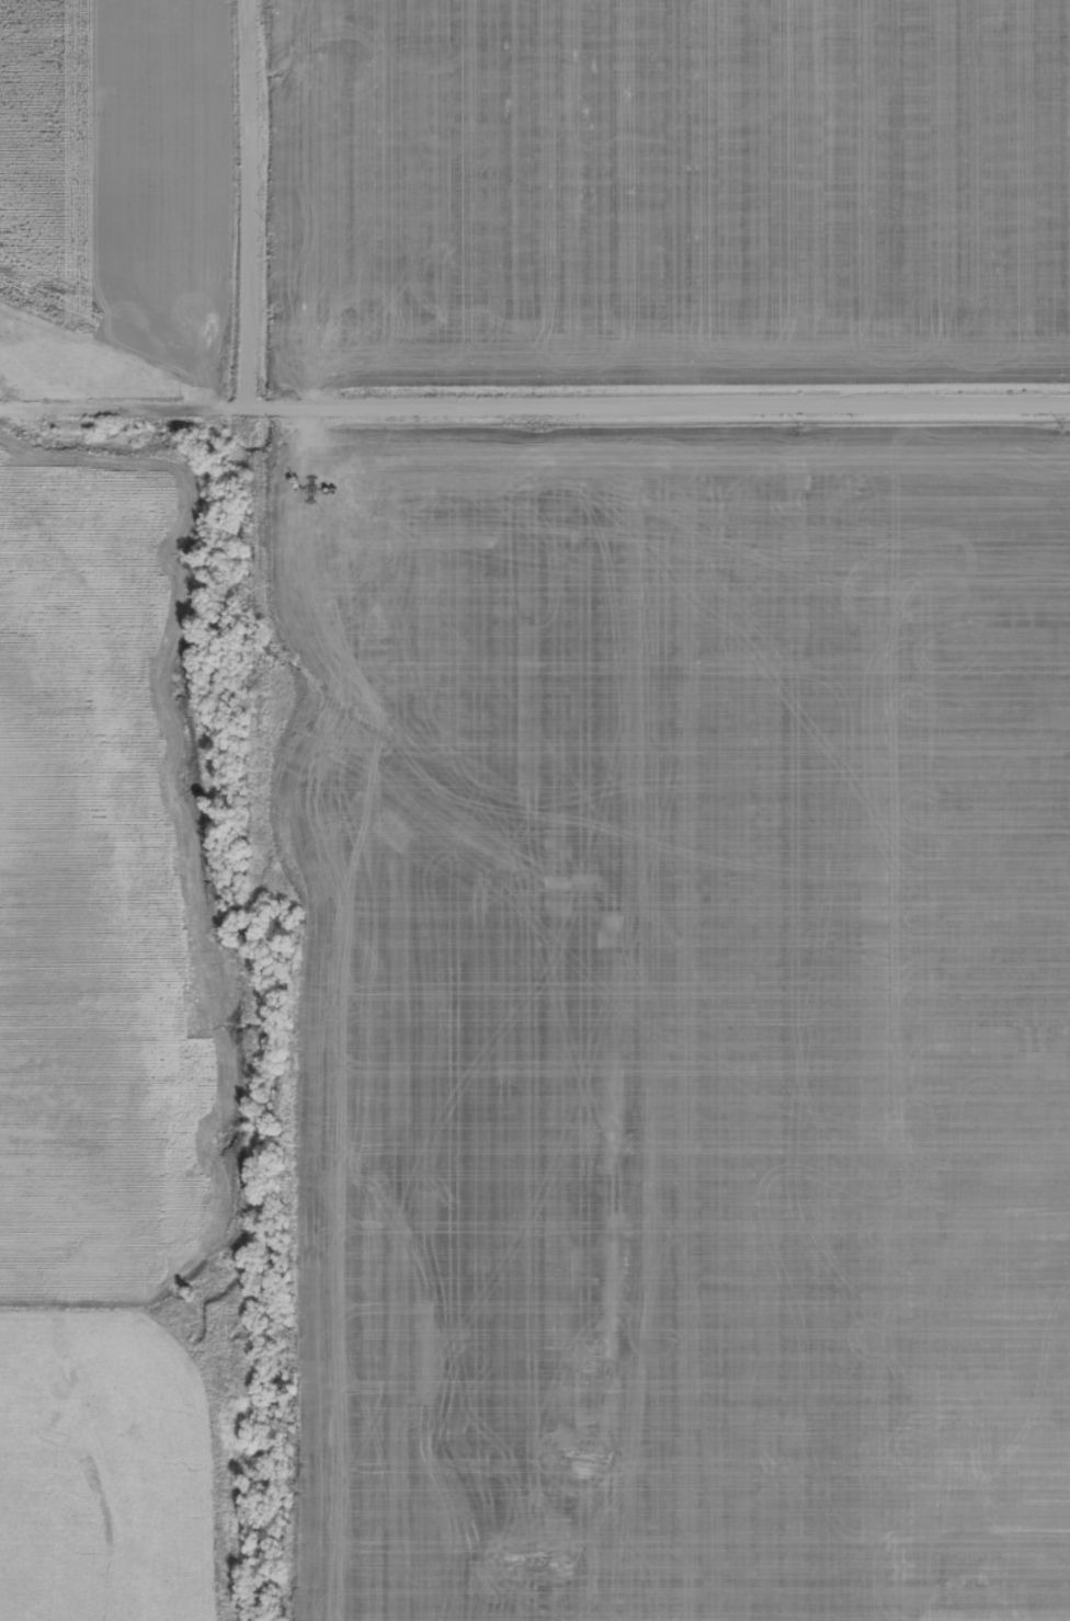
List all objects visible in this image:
road: (255, 253)
road: (535, 407)

